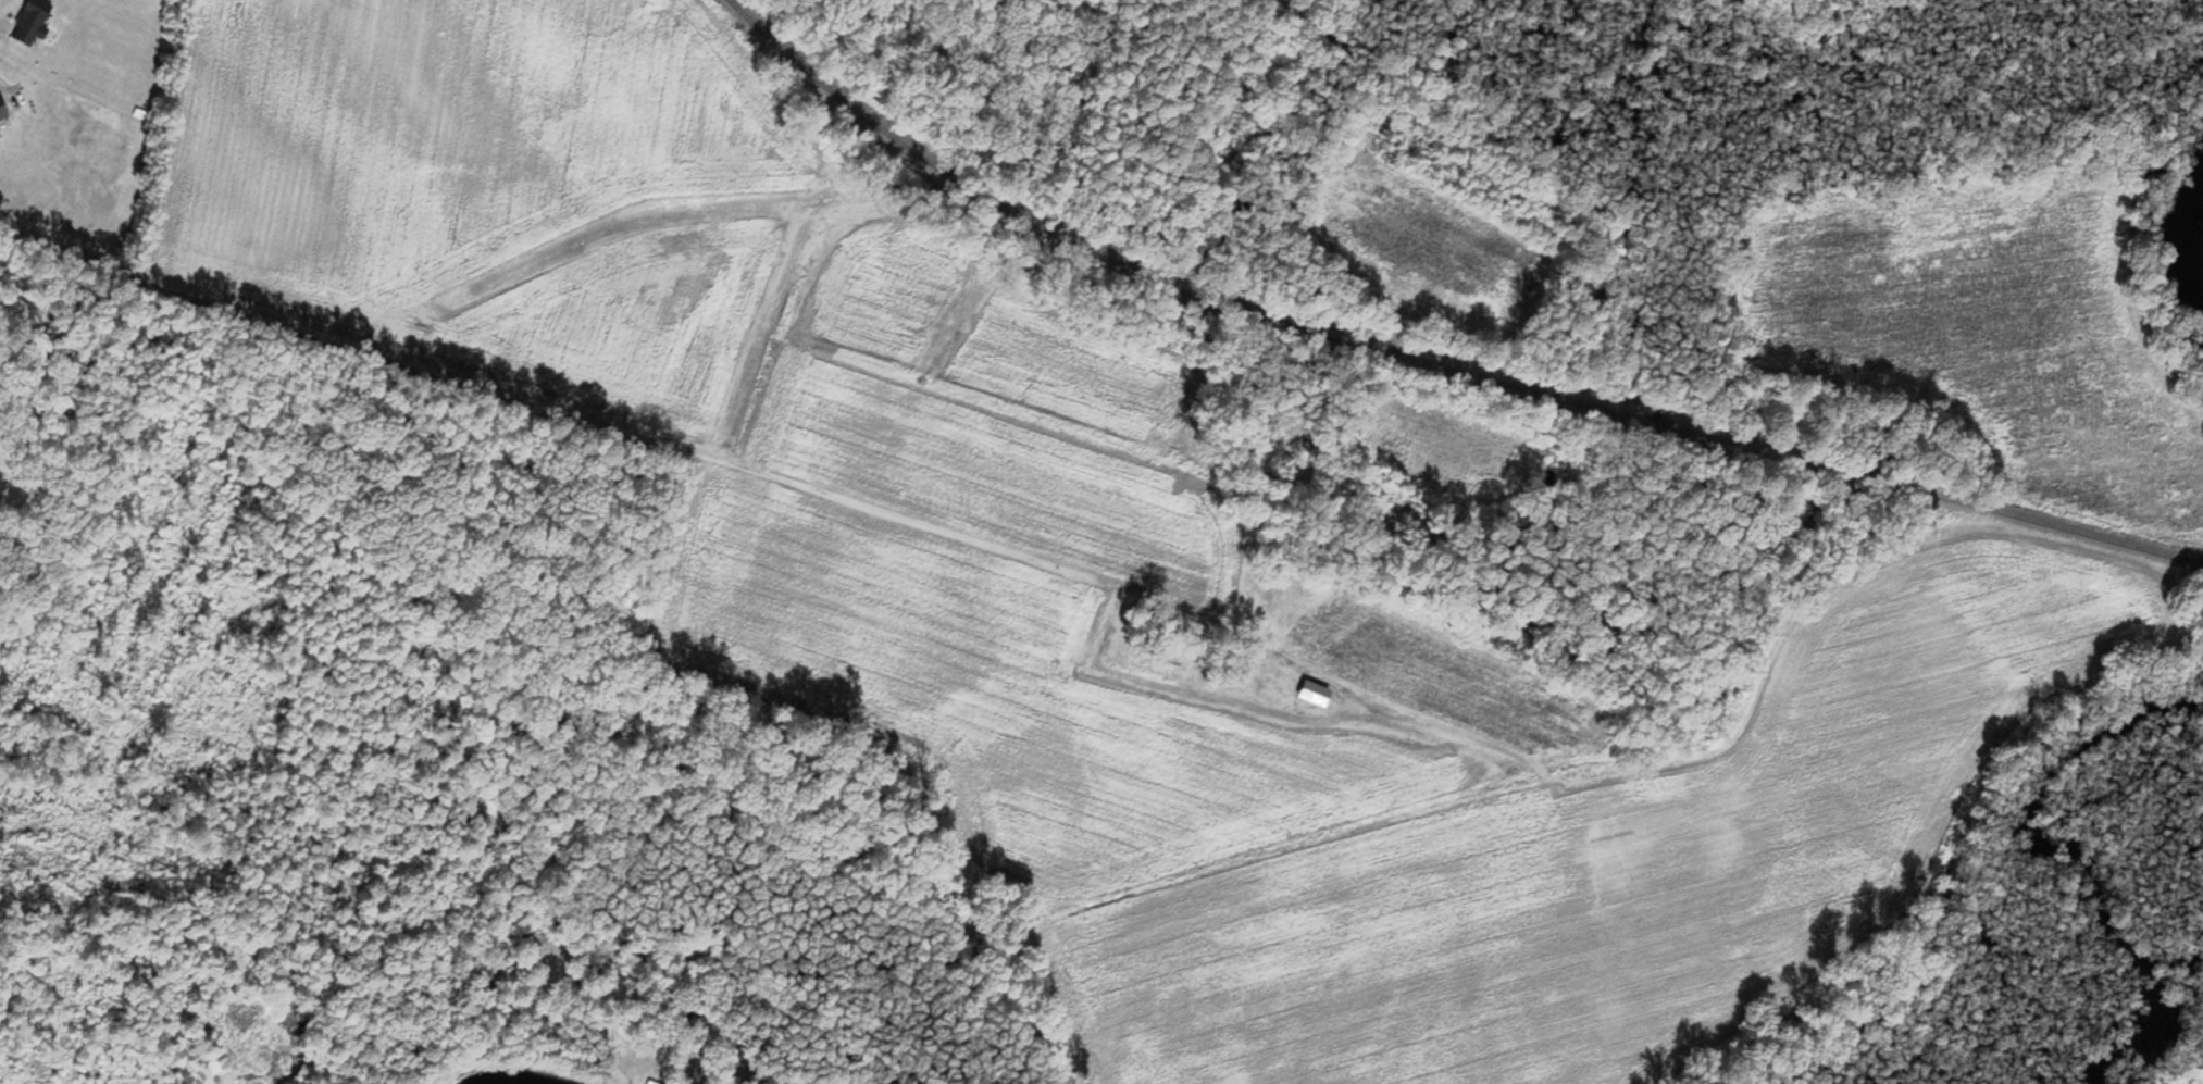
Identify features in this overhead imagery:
building: (33, 23)
railway: (1428, 363)
road: (631, 433)

